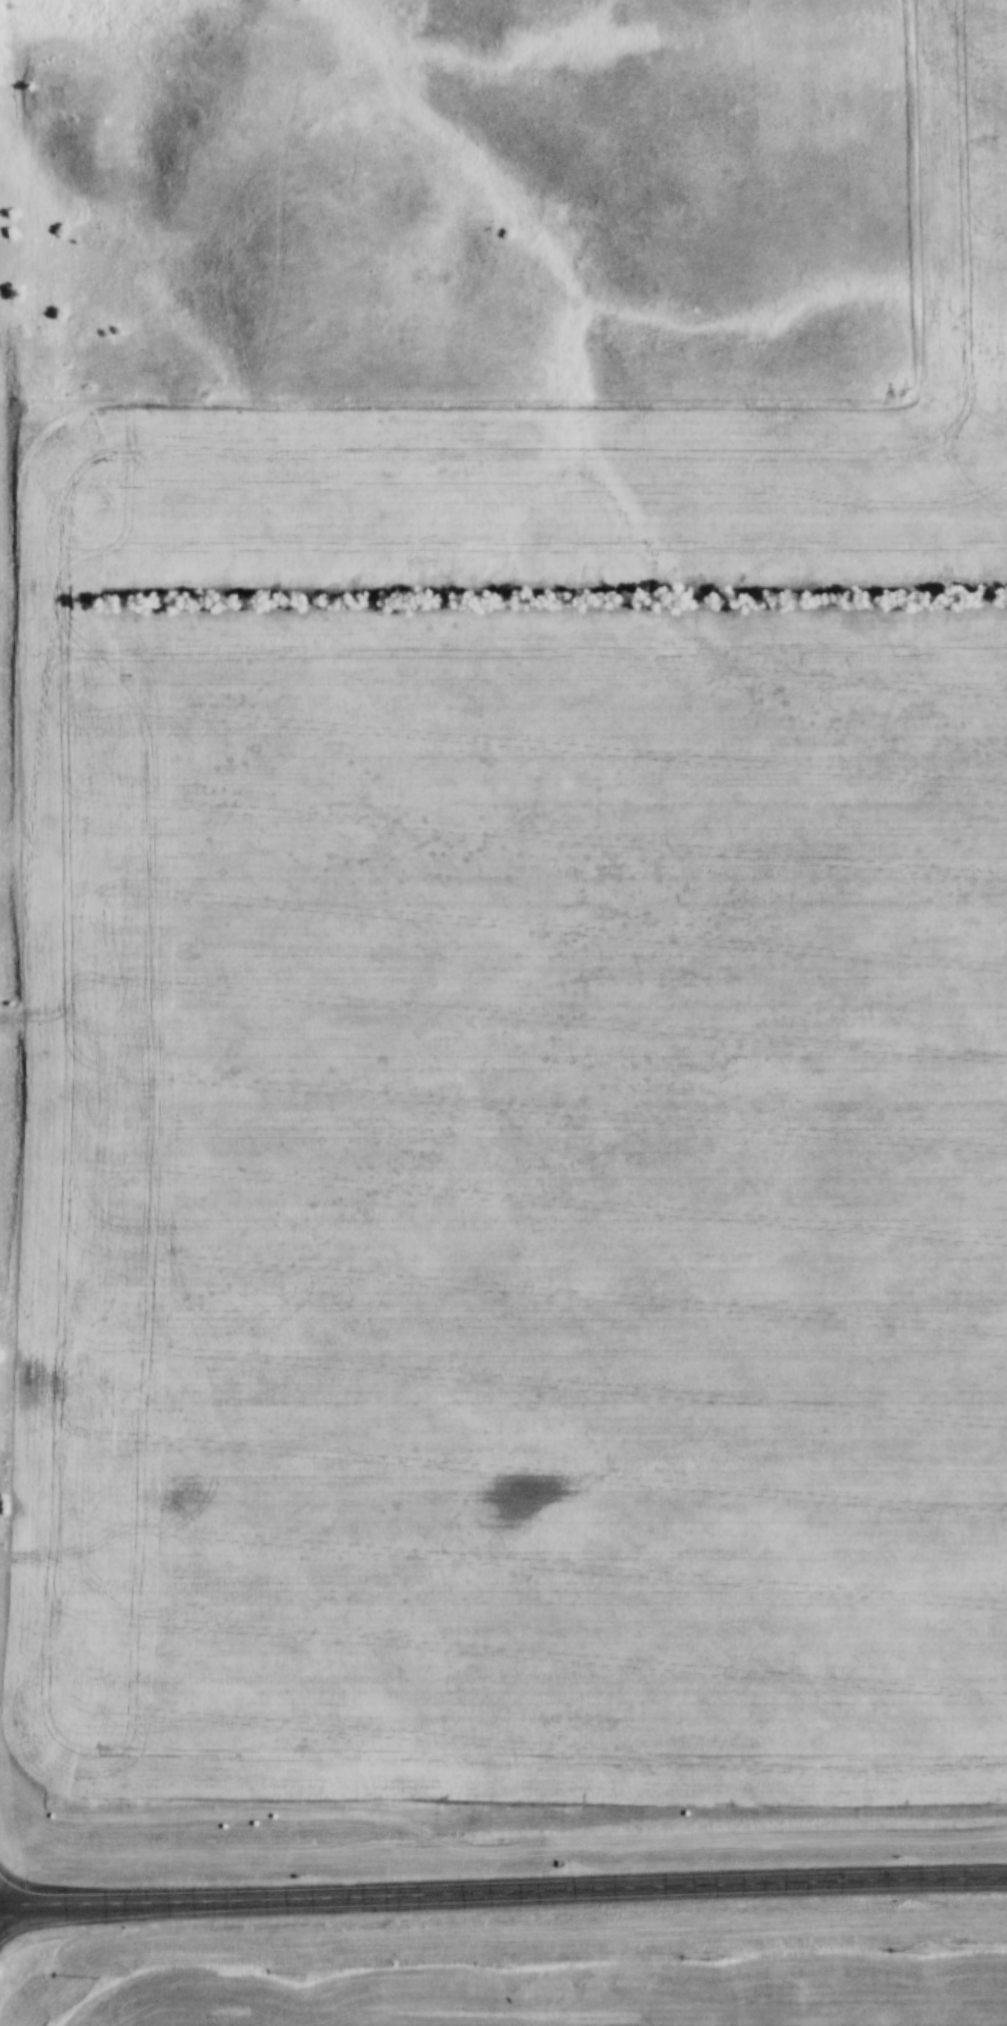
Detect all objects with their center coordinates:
road: (503, 1890)

